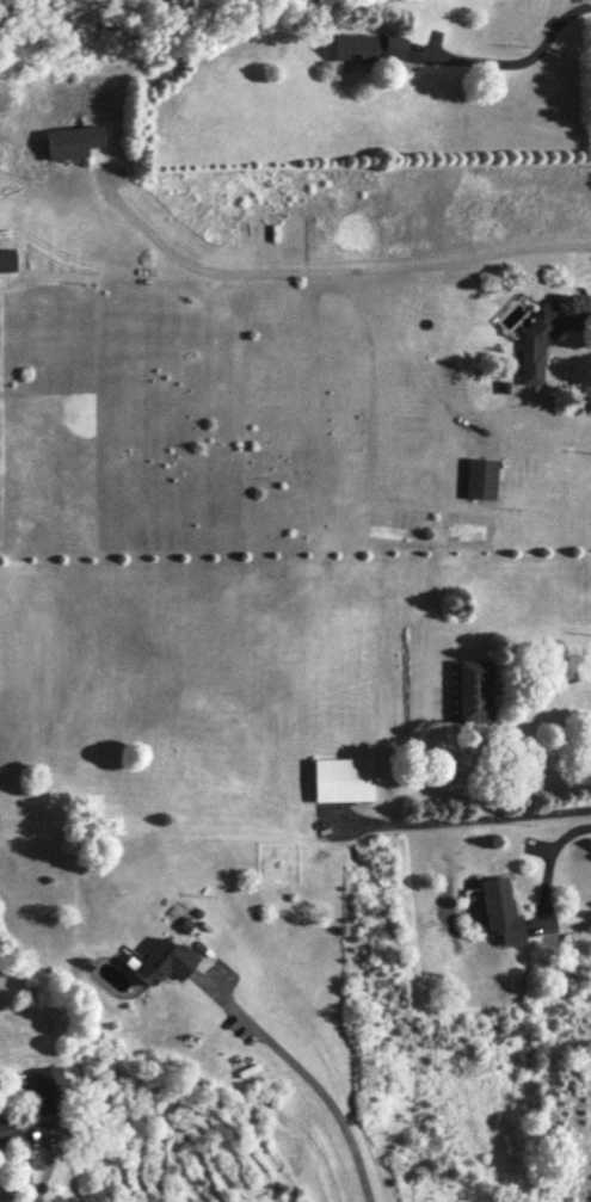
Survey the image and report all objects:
building: (377, 48)
road: (522, 60)
building: (10, 260)
road: (316, 261)
building: (552, 332)
building: (485, 477)
building: (479, 690)
road: (531, 777)
building: (346, 779)
road: (460, 819)
road: (549, 858)
building: (505, 911)
building: (166, 961)
road: (315, 1085)
building: (7, 1129)
road: (36, 1184)

